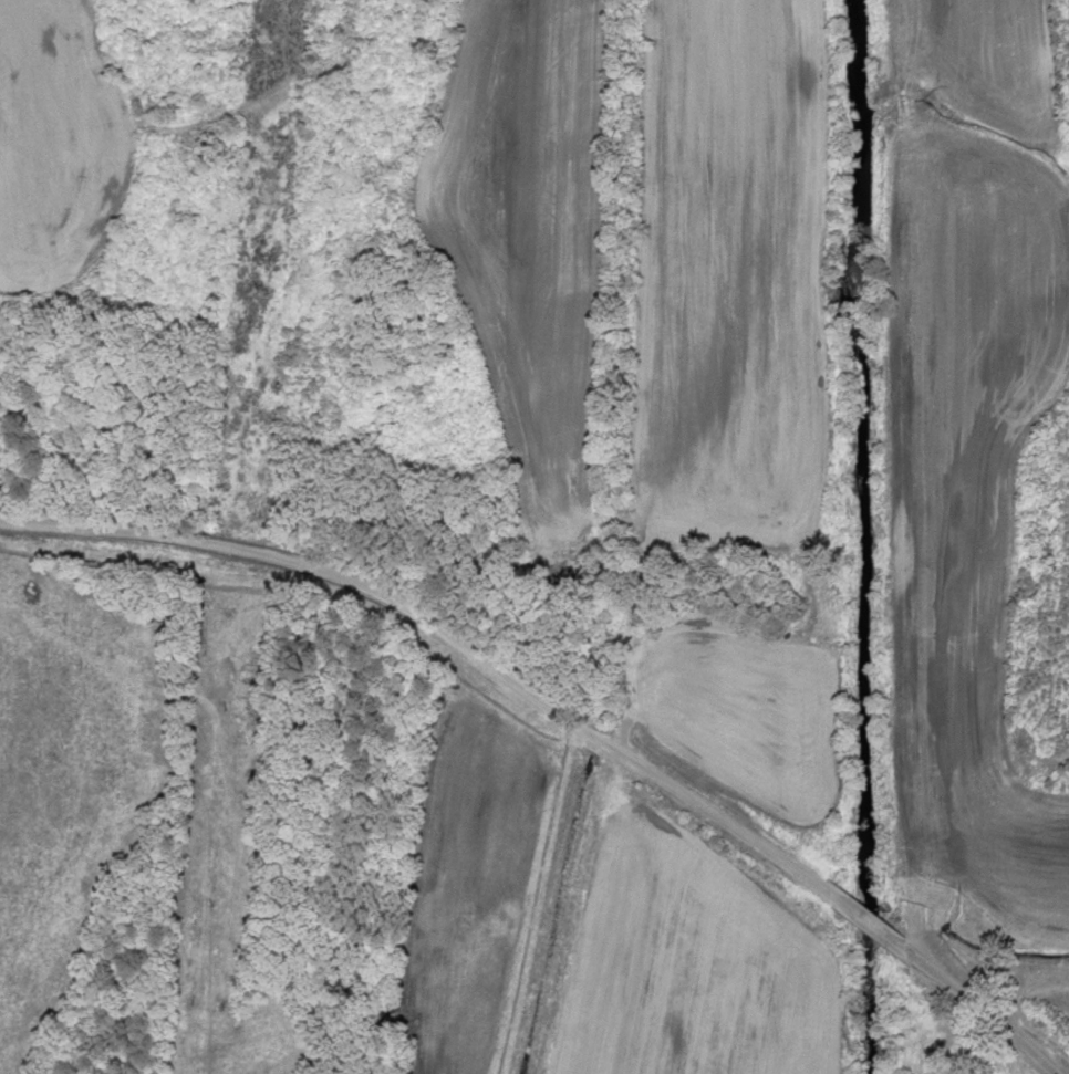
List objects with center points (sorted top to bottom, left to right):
road: (411, 647)
road: (863, 991)

